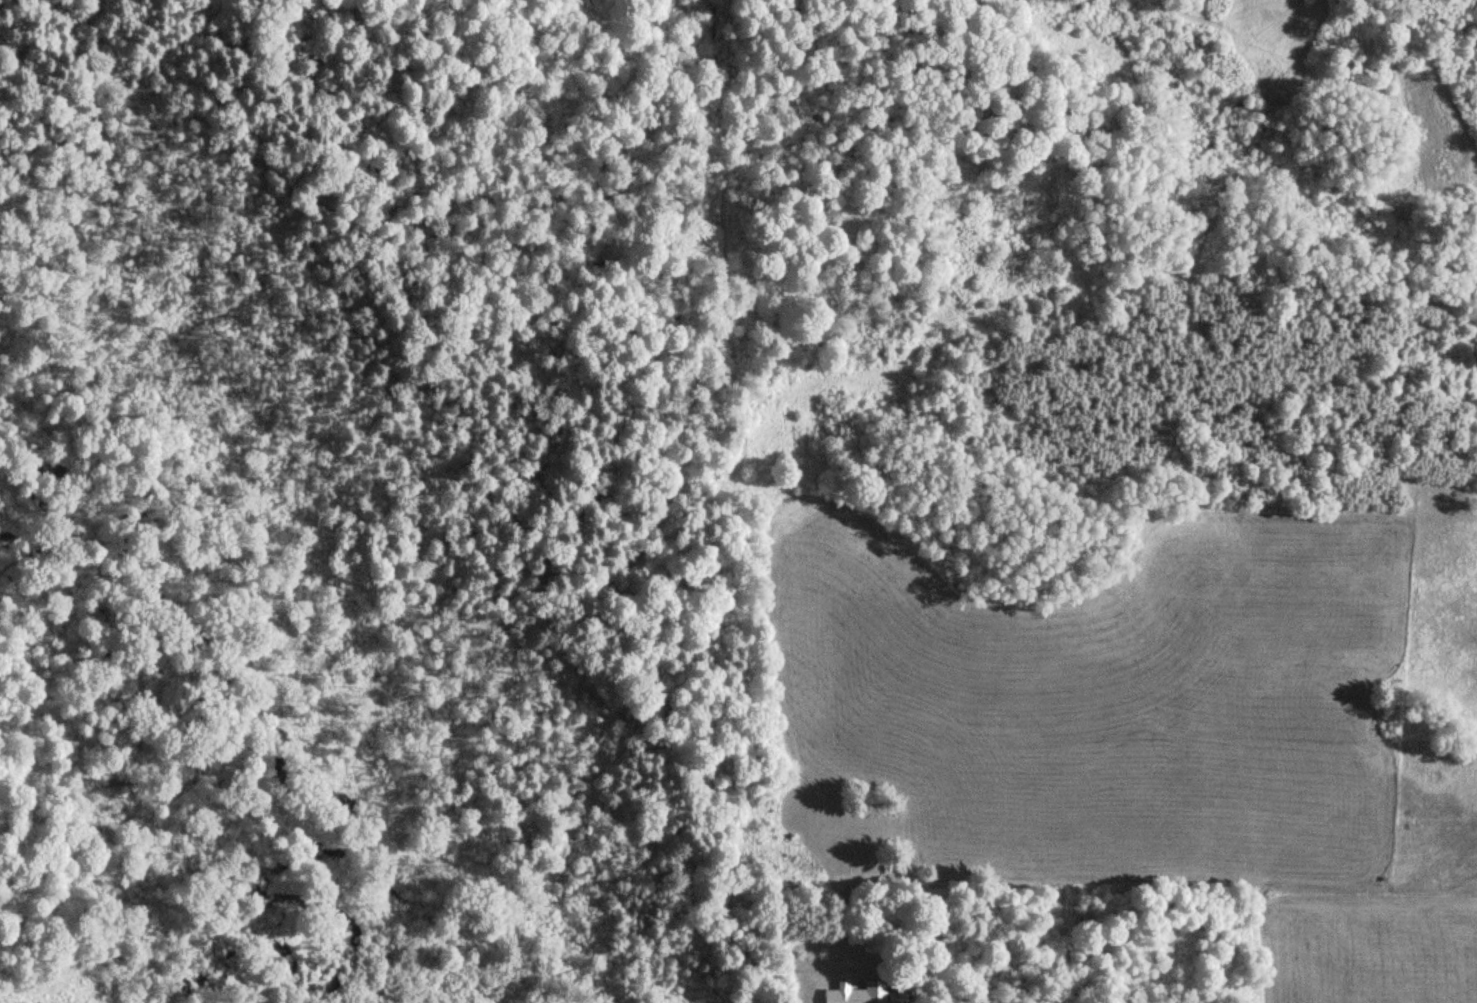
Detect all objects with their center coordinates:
building: (864, 994)

